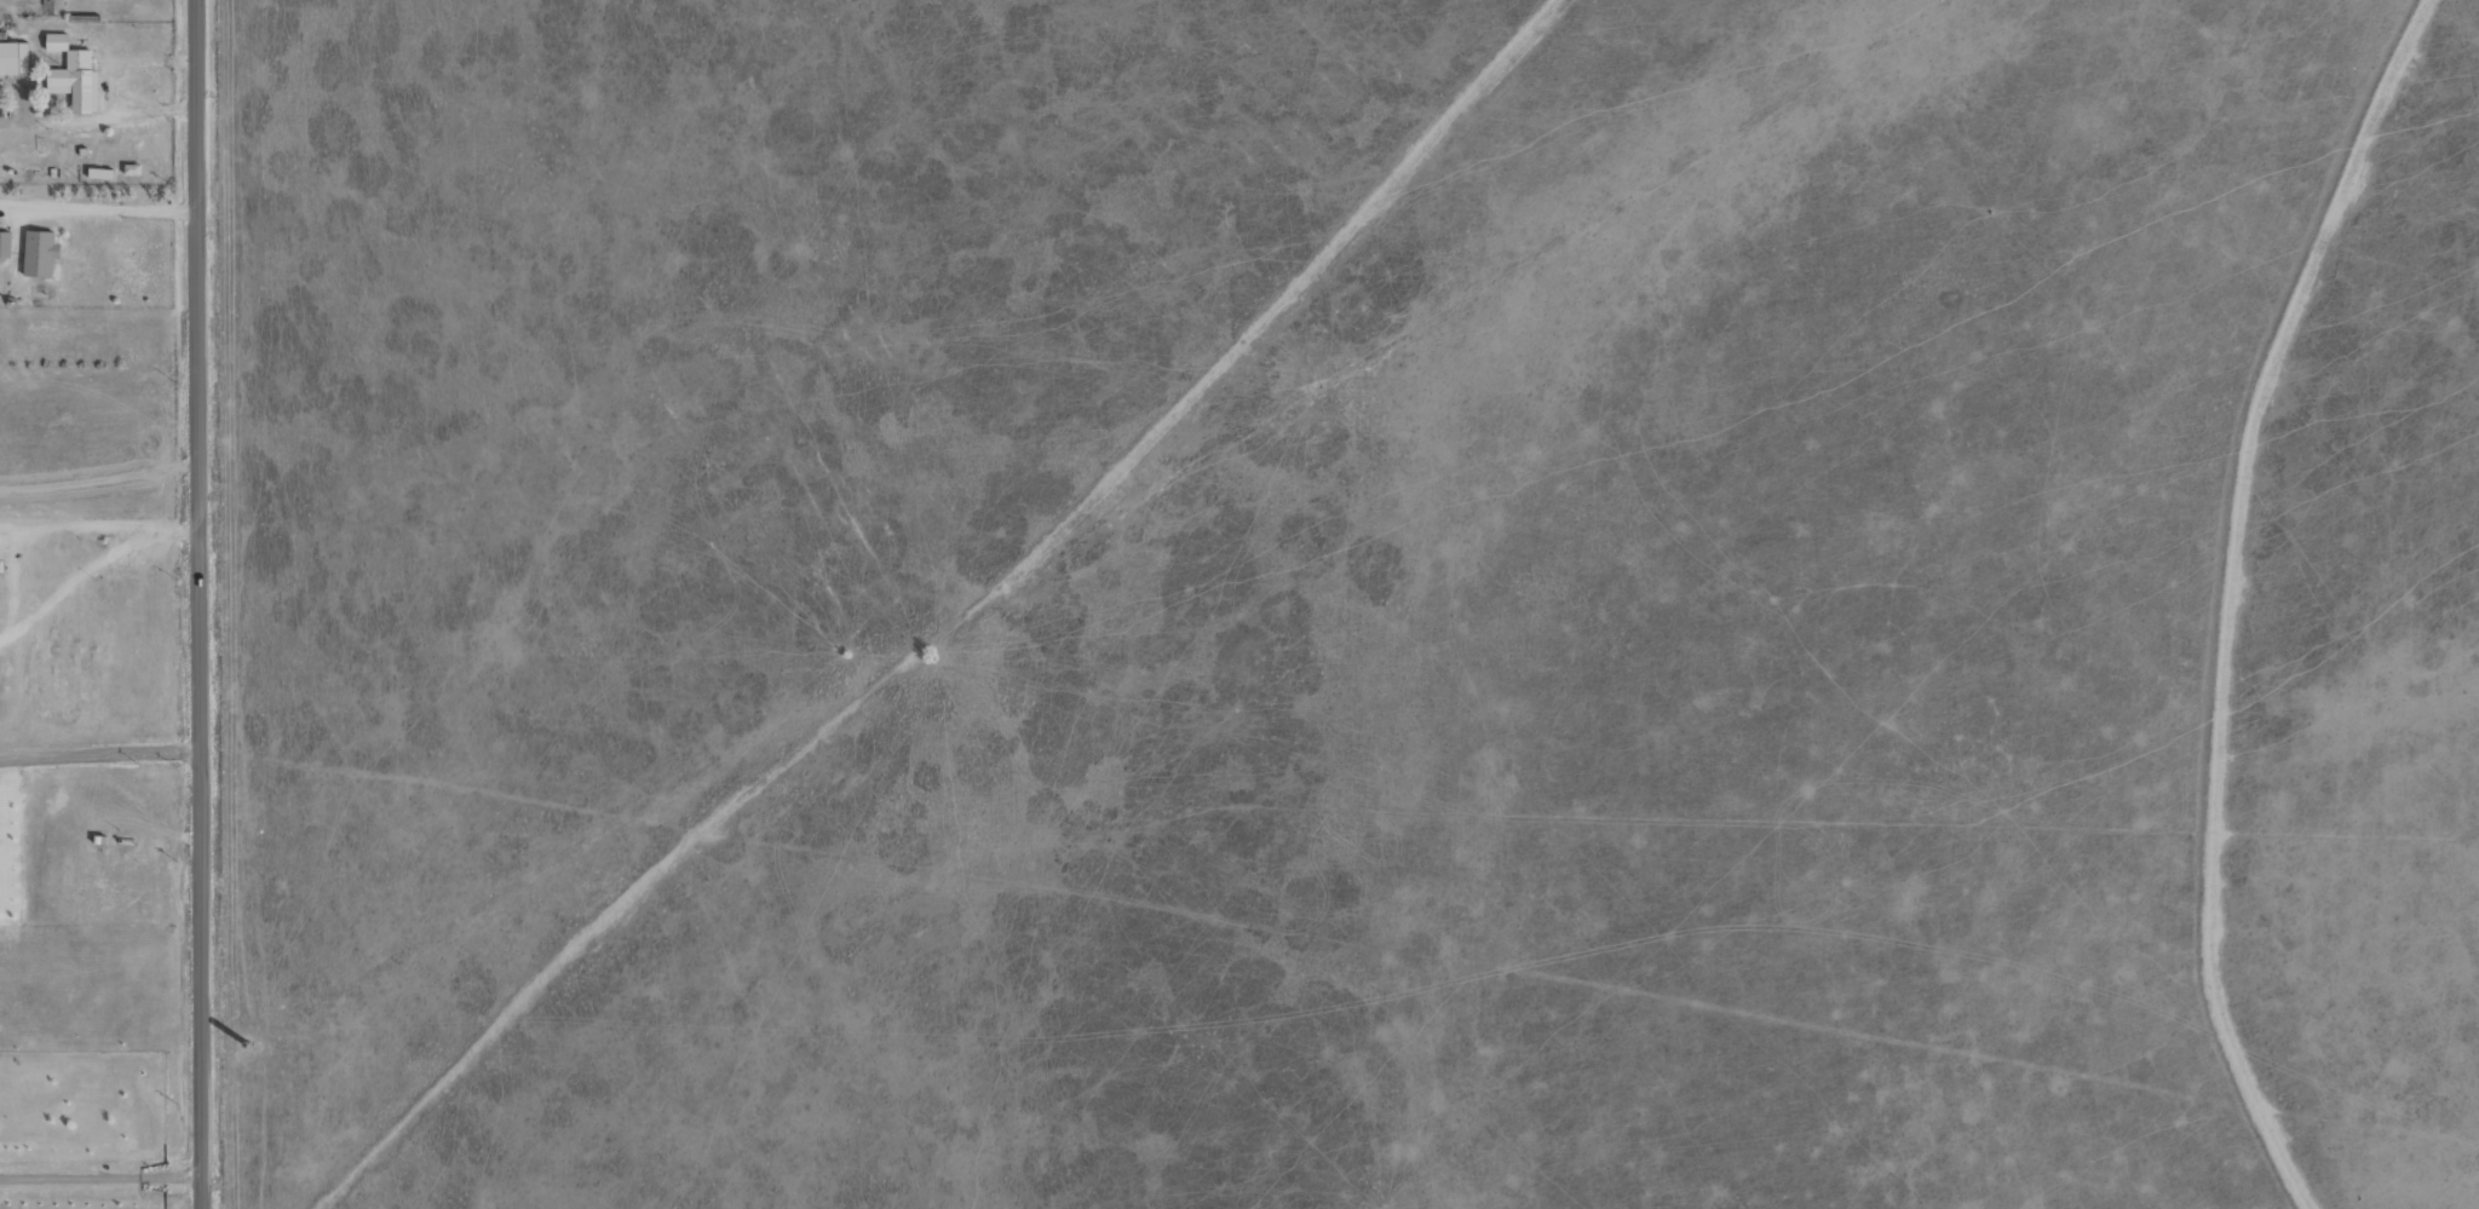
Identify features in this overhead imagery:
building: (57, 41)
building: (13, 57)
building: (76, 81)
building: (5, 244)
building: (39, 254)
road: (99, 537)
road: (200, 604)
road: (99, 727)

